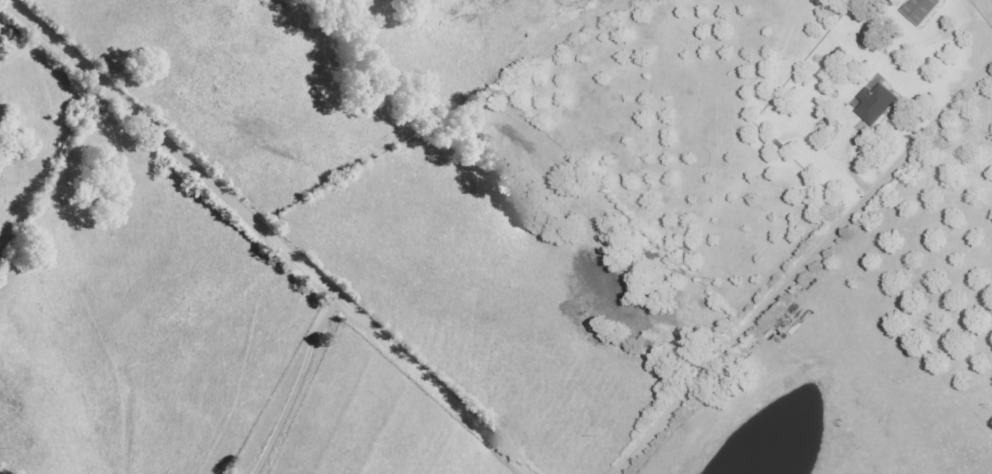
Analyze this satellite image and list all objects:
building: (922, 9)
building: (876, 103)
road: (274, 235)
road: (806, 268)

